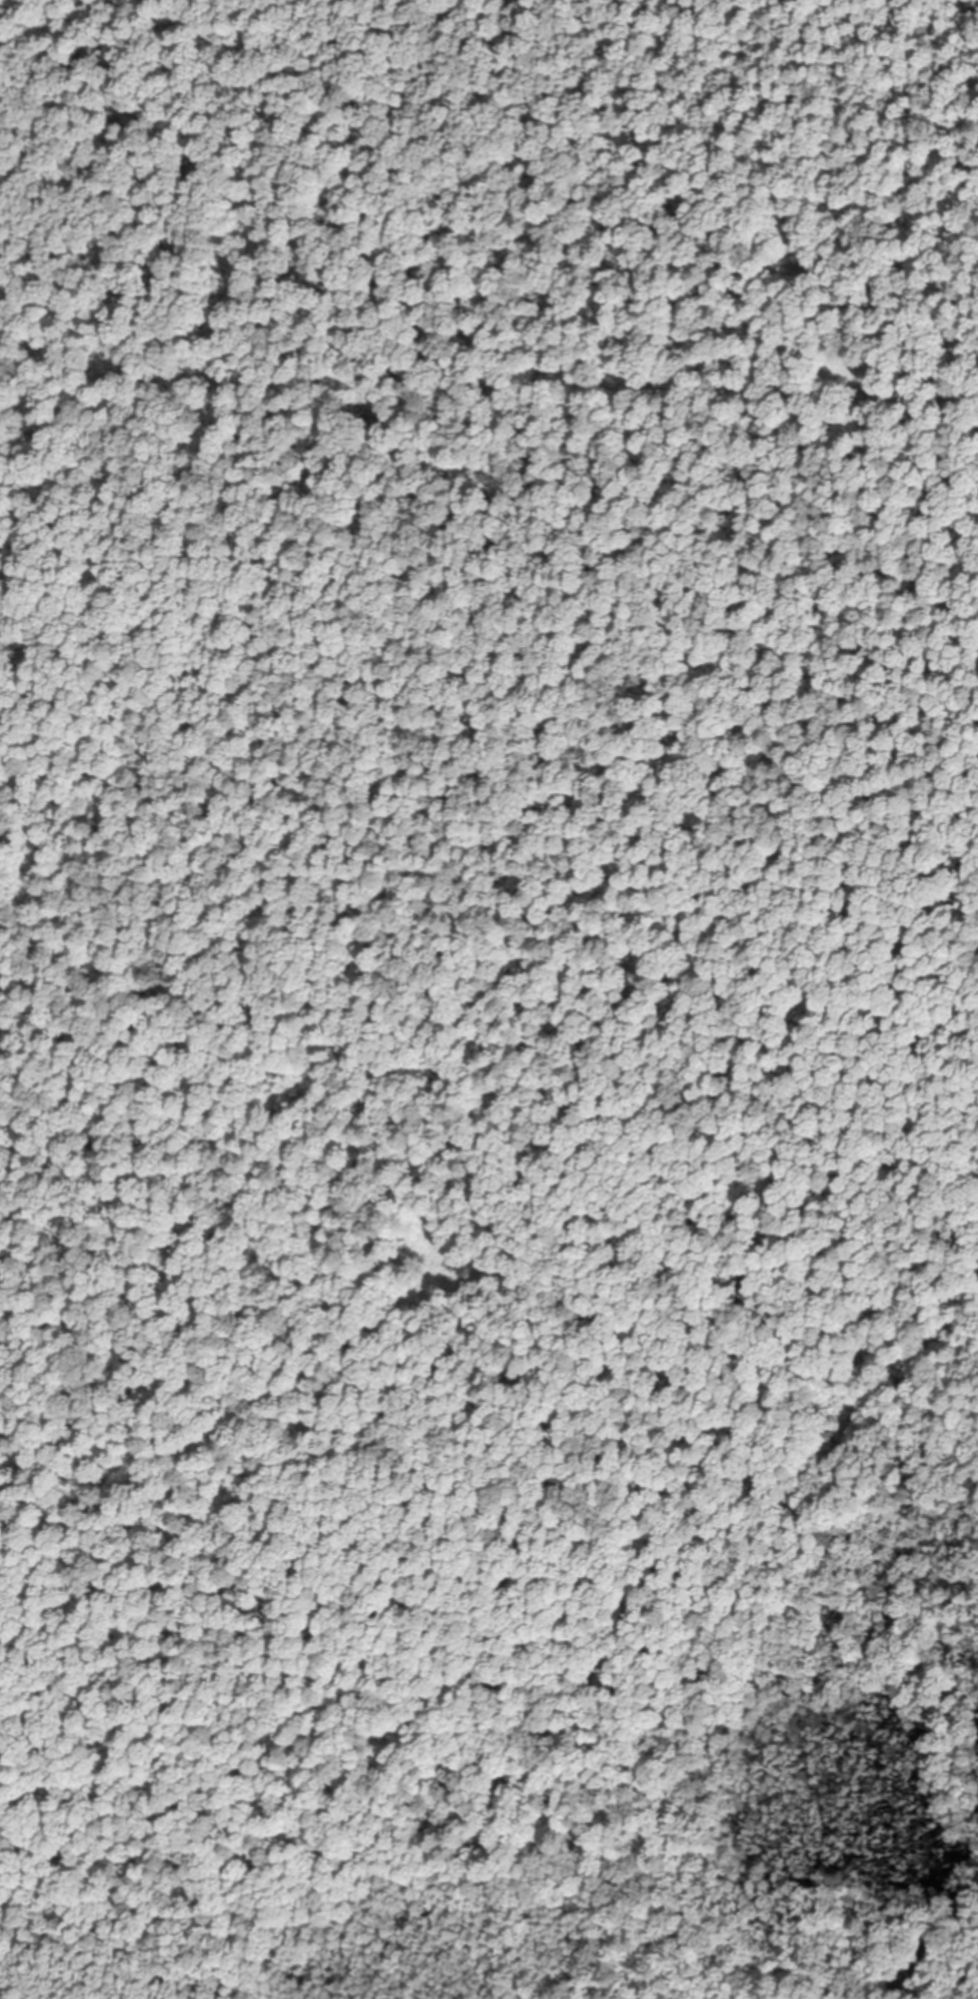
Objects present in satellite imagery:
road: (929, 1933)

